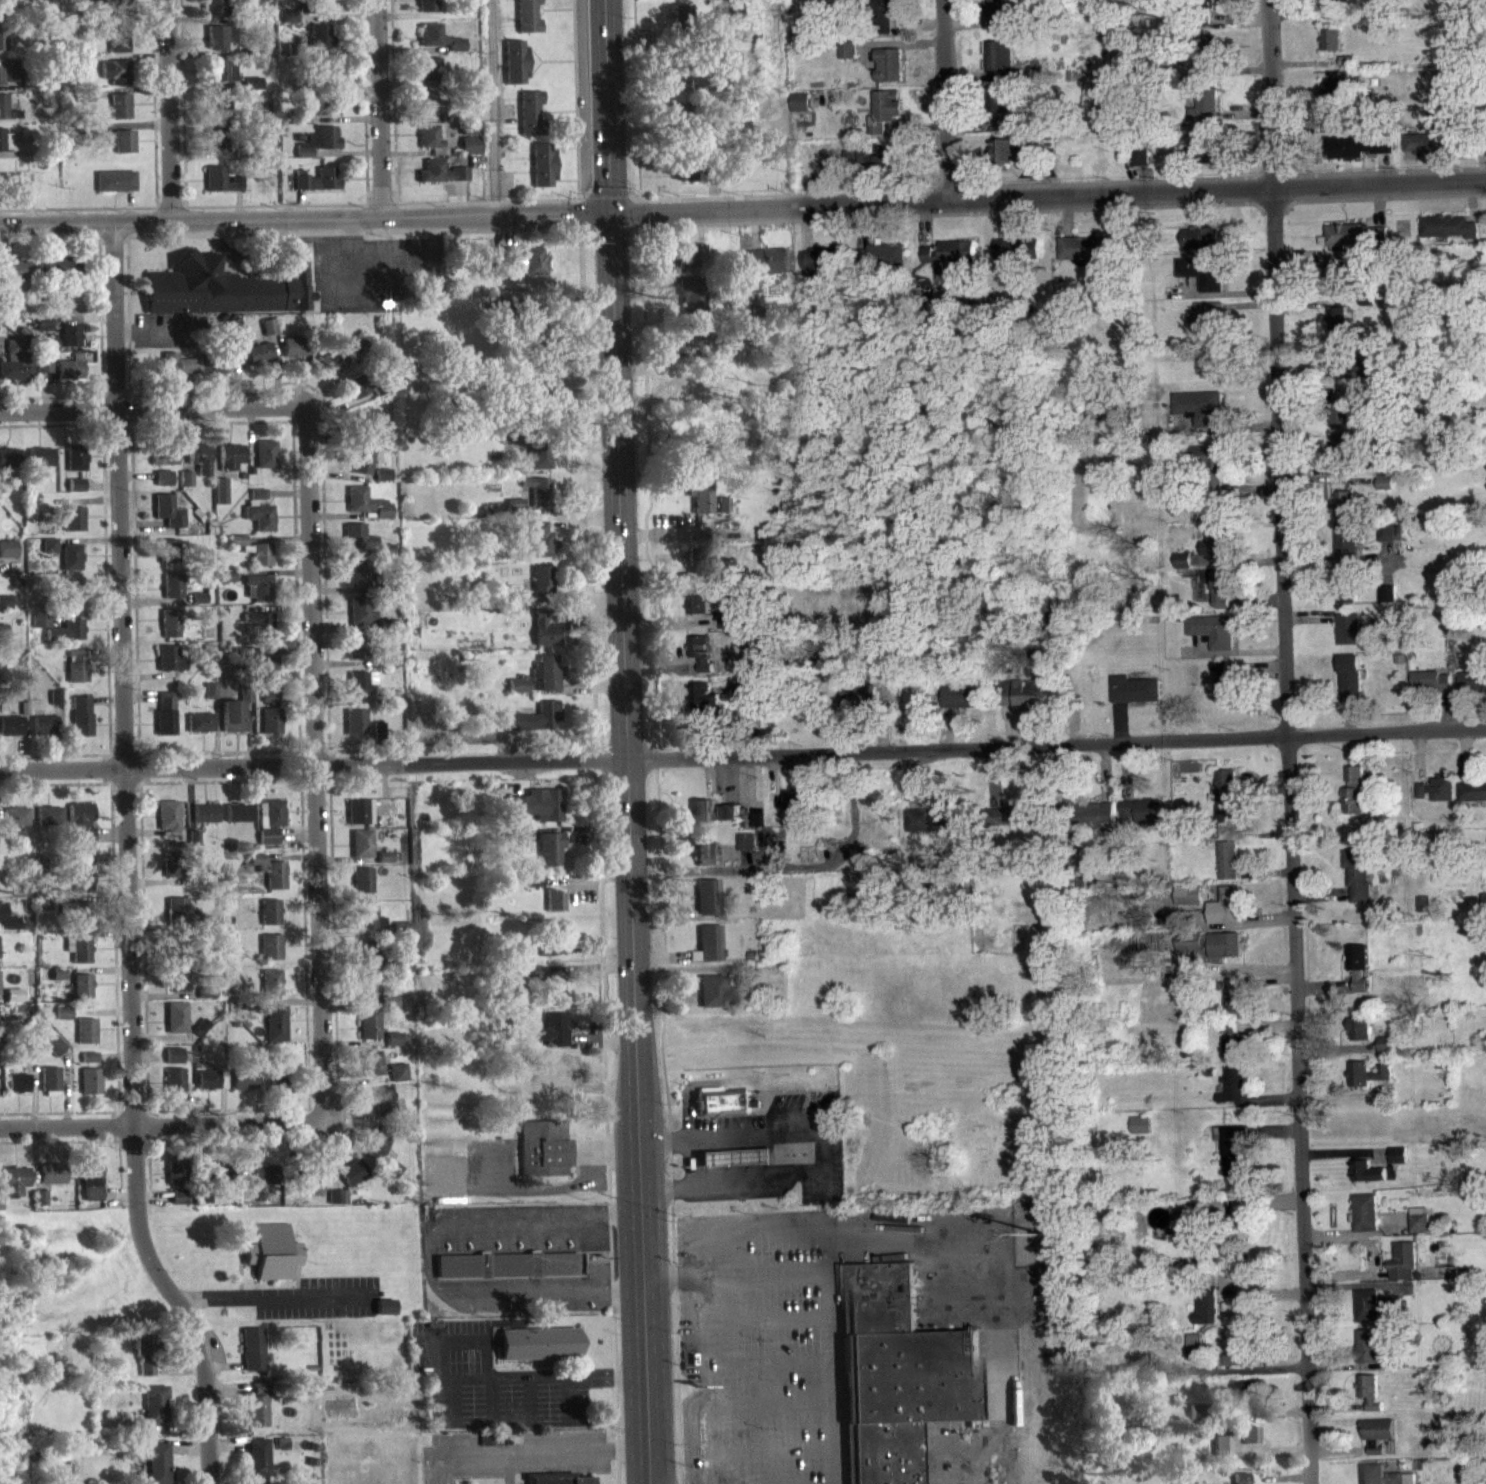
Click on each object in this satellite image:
building: (680, 1)
building: (90, 4)
building: (1212, 8)
building: (119, 9)
building: (427, 10)
building: (319, 11)
building: (1, 12)
building: (214, 13)
building: (886, 13)
building: (1334, 13)
building: (527, 20)
building: (994, 22)
building: (681, 24)
building: (289, 25)
building: (320, 45)
building: (2, 46)
building: (117, 46)
building: (215, 46)
building: (439, 47)
building: (1332, 49)
building: (1002, 70)
building: (81, 71)
building: (515, 71)
building: (885, 75)
building: (324, 77)
building: (429, 78)
building: (9, 80)
building: (114, 80)
building: (223, 80)
building: (251, 92)
road: (948, 100)
building: (1336, 101)
road: (492, 107)
road: (371, 109)
road: (169, 110)
building: (425, 111)
building: (800, 112)
building: (1206, 112)
building: (1004, 113)
building: (119, 115)
building: (217, 115)
building: (327, 116)
building: (882, 121)
building: (530, 122)
building: (261, 126)
building: (429, 145)
building: (6, 149)
building: (215, 149)
building: (121, 150)
building: (318, 150)
building: (1427, 152)
building: (470, 154)
building: (1359, 155)
building: (1200, 157)
building: (1012, 159)
building: (1141, 167)
building: (881, 168)
building: (542, 173)
building: (440, 181)
building: (221, 188)
building: (318, 188)
building: (8, 189)
building: (115, 189)
road: (1048, 196)
traffic signals: (611, 210)
road: (305, 219)
road: (49, 235)
building: (1449, 236)
building: (1343, 245)
building: (1379, 245)
building: (1201, 247)
building: (1085, 258)
building: (1017, 259)
building: (691, 264)
building: (949, 264)
building: (883, 265)
building: (529, 268)
building: (820, 269)
building: (768, 270)
building: (56, 274)
building: (14, 279)
building: (1202, 281)
building: (1340, 285)
building: (226, 296)
building: (692, 303)
building: (1337, 328)
building: (1206, 329)
building: (70, 344)
building: (697, 344)
building: (293, 356)
building: (358, 356)
building: (259, 363)
building: (332, 369)
building: (15, 371)
building: (43, 373)
building: (176, 373)
building: (67, 378)
building: (1339, 378)
building: (355, 395)
road: (152, 408)
building: (1198, 416)
building: (1341, 421)
building: (365, 427)
building: (1340, 455)
building: (266, 463)
building: (163, 464)
building: (230, 465)
building: (1208, 465)
building: (9, 466)
building: (40, 466)
building: (76, 466)
building: (200, 467)
building: (541, 467)
building: (362, 471)
building: (382, 484)
building: (163, 487)
building: (186, 487)
building: (1384, 491)
building: (75, 494)
building: (221, 499)
building: (540, 500)
building: (258, 502)
building: (700, 504)
building: (367, 512)
building: (1344, 513)
building: (516, 514)
building: (723, 514)
building: (169, 520)
building: (260, 524)
building: (73, 527)
building: (1345, 548)
building: (362, 549)
building: (542, 549)
building: (1214, 551)
building: (49, 553)
building: (7, 557)
building: (168, 560)
building: (254, 560)
building: (71, 565)
building: (1182, 570)
building: (359, 581)
building: (543, 592)
building: (173, 595)
building: (1346, 596)
building: (259, 597)
building: (1221, 599)
building: (71, 601)
building: (1387, 602)
building: (201, 606)
building: (5, 610)
building: (697, 612)
building: (361, 621)
building: (40, 628)
building: (258, 630)
building: (725, 631)
building: (170, 633)
building: (545, 638)
building: (1348, 638)
building: (3, 639)
building: (66, 639)
building: (1213, 641)
building: (356, 656)
building: (697, 656)
building: (76, 663)
building: (169, 668)
building: (703, 675)
building: (267, 679)
building: (77, 680)
building: (546, 683)
building: (1349, 685)
building: (1473, 689)
building: (1431, 690)
building: (1222, 691)
building: (361, 692)
building: (517, 693)
building: (210, 699)
building: (1134, 699)
building: (703, 704)
building: (270, 705)
building: (960, 706)
building: (1027, 708)
building: (859, 709)
building: (166, 723)
building: (81, 725)
building: (233, 725)
building: (532, 727)
building: (271, 730)
building: (356, 731)
building: (200, 732)
building: (11, 734)
building: (45, 734)
building: (378, 738)
road: (615, 742)
road: (1287, 742)
road: (313, 763)
road: (743, 763)
building: (1437, 798)
building: (1473, 800)
building: (1354, 801)
building: (1225, 805)
building: (520, 814)
building: (552, 814)
building: (360, 820)
building: (238, 821)
building: (715, 821)
building: (1141, 821)
building: (205, 822)
building: (49, 824)
building: (15, 825)
building: (168, 825)
building: (1094, 825)
building: (1006, 826)
building: (755, 829)
building: (270, 830)
building: (81, 832)
building: (193, 846)
building: (362, 852)
building: (744, 852)
building: (550, 858)
road: (127, 862)
building: (704, 862)
building: (384, 865)
building: (1228, 870)
building: (173, 874)
building: (81, 881)
building: (270, 881)
building: (1357, 884)
building: (535, 888)
building: (362, 889)
building: (1188, 905)
building: (707, 906)
building: (556, 910)
building: (44, 912)
building: (1230, 914)
building: (1424, 914)
building: (179, 921)
building: (270, 921)
building: (7, 927)
building: (369, 927)
building: (558, 933)
building: (710, 952)
building: (270, 956)
building: (174, 957)
building: (78, 958)
building: (549, 958)
building: (366, 961)
building: (1359, 976)
building: (57, 982)
building: (178, 989)
building: (271, 991)
building: (548, 992)
building: (81, 995)
building: (365, 998)
building: (714, 1001)
building: (1233, 1003)
building: (14, 1004)
building: (62, 1022)
building: (176, 1026)
building: (275, 1032)
building: (199, 1036)
building: (369, 1036)
building: (1360, 1038)
building: (85, 1039)
building: (555, 1039)
building: (394, 1048)
building: (1233, 1050)
building: (1386, 1053)
building: (54, 1055)
building: (173, 1064)
building: (89, 1066)
building: (372, 1072)
building: (398, 1082)
building: (1368, 1083)
building: (277, 1088)
building: (174, 1089)
building: (210, 1089)
building: (243, 1089)
building: (50, 1090)
building: (90, 1090)
building: (17, 1092)
building: (1233, 1095)
building: (385, 1109)
building: (721, 1111)
road: (164, 1125)
building: (1140, 1134)
road: (817, 1153)
building: (378, 1155)
building: (545, 1158)
building: (1236, 1160)
road: (691, 1161)
building: (1399, 1164)
building: (735, 1167)
building: (175, 1180)
building: (352, 1181)
building: (1371, 1181)
building: (52, 1182)
building: (264, 1183)
building: (15, 1189)
building: (91, 1189)
building: (310, 1194)
building: (40, 1206)
building: (178, 1206)
building: (337, 1206)
building: (1366, 1222)
building: (1419, 1229)
building: (272, 1261)
building: (1403, 1271)
building: (509, 1274)
road: (271, 1296)
building: (385, 1316)
building: (1375, 1316)
building: (1206, 1318)
road: (738, 1332)
building: (541, 1352)
building: (144, 1353)
building: (1195, 1353)
building: (1370, 1356)
building: (252, 1358)
building: (1239, 1361)
building: (146, 1376)
road: (473, 1378)
building: (898, 1381)
building: (1370, 1401)
building: (1241, 1405)
building: (155, 1413)
building: (259, 1414)
building: (1378, 1443)
building: (1246, 1444)
building: (1222, 1454)
road: (529, 1455)
building: (257, 1465)
building: (157, 1468)
building: (1374, 1478)
building: (542, 1483)
building: (1241, 1483)
building: (1410, 1483)

